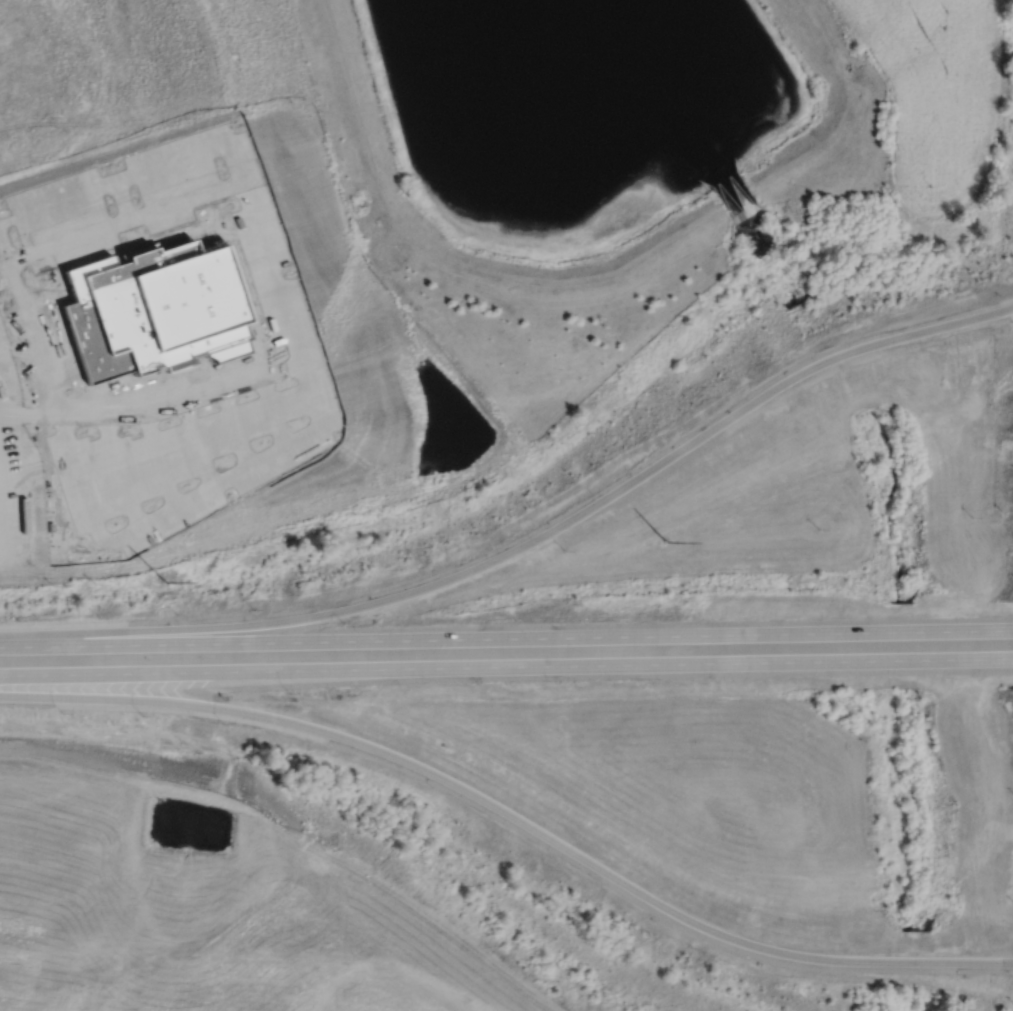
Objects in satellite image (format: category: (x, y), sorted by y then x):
crop: (935, 91)
road: (130, 179)
road: (128, 224)
parking lot: (42, 262)
building: (158, 316)
road: (30, 415)
road: (276, 416)
road: (238, 432)
road: (302, 444)
road: (200, 447)
road: (161, 461)
parking lot: (190, 461)
road: (119, 472)
road: (529, 541)
power tower: (669, 541)
power tower: (168, 581)
street lamp: (252, 608)
street lamp: (176, 612)
street lamp: (98, 616)
street lamp: (19, 619)
street lamp: (342, 622)
road: (694, 635)
road: (187, 643)
road: (694, 663)
road: (188, 671)
street lamp: (288, 691)
street lamp: (61, 712)
street lamp: (141, 714)
street lamp: (223, 723)
road: (512, 818)

